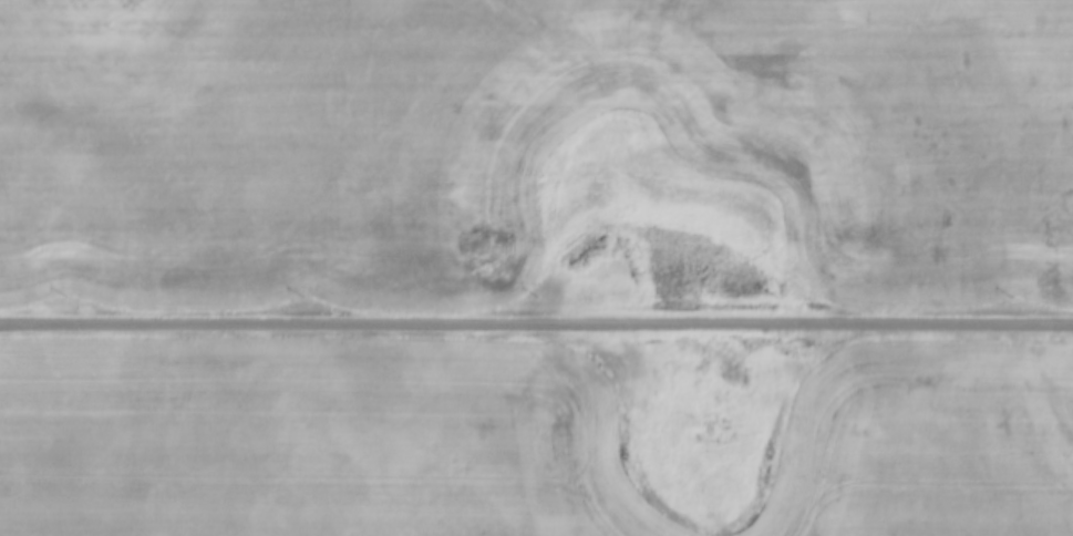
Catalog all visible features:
road: (536, 317)

